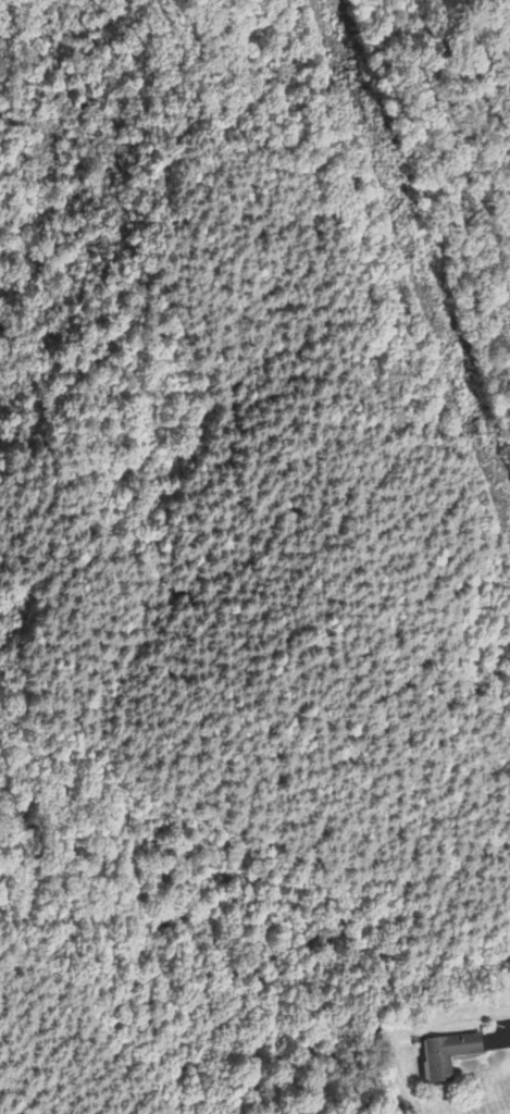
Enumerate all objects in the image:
building: (448, 1057)

